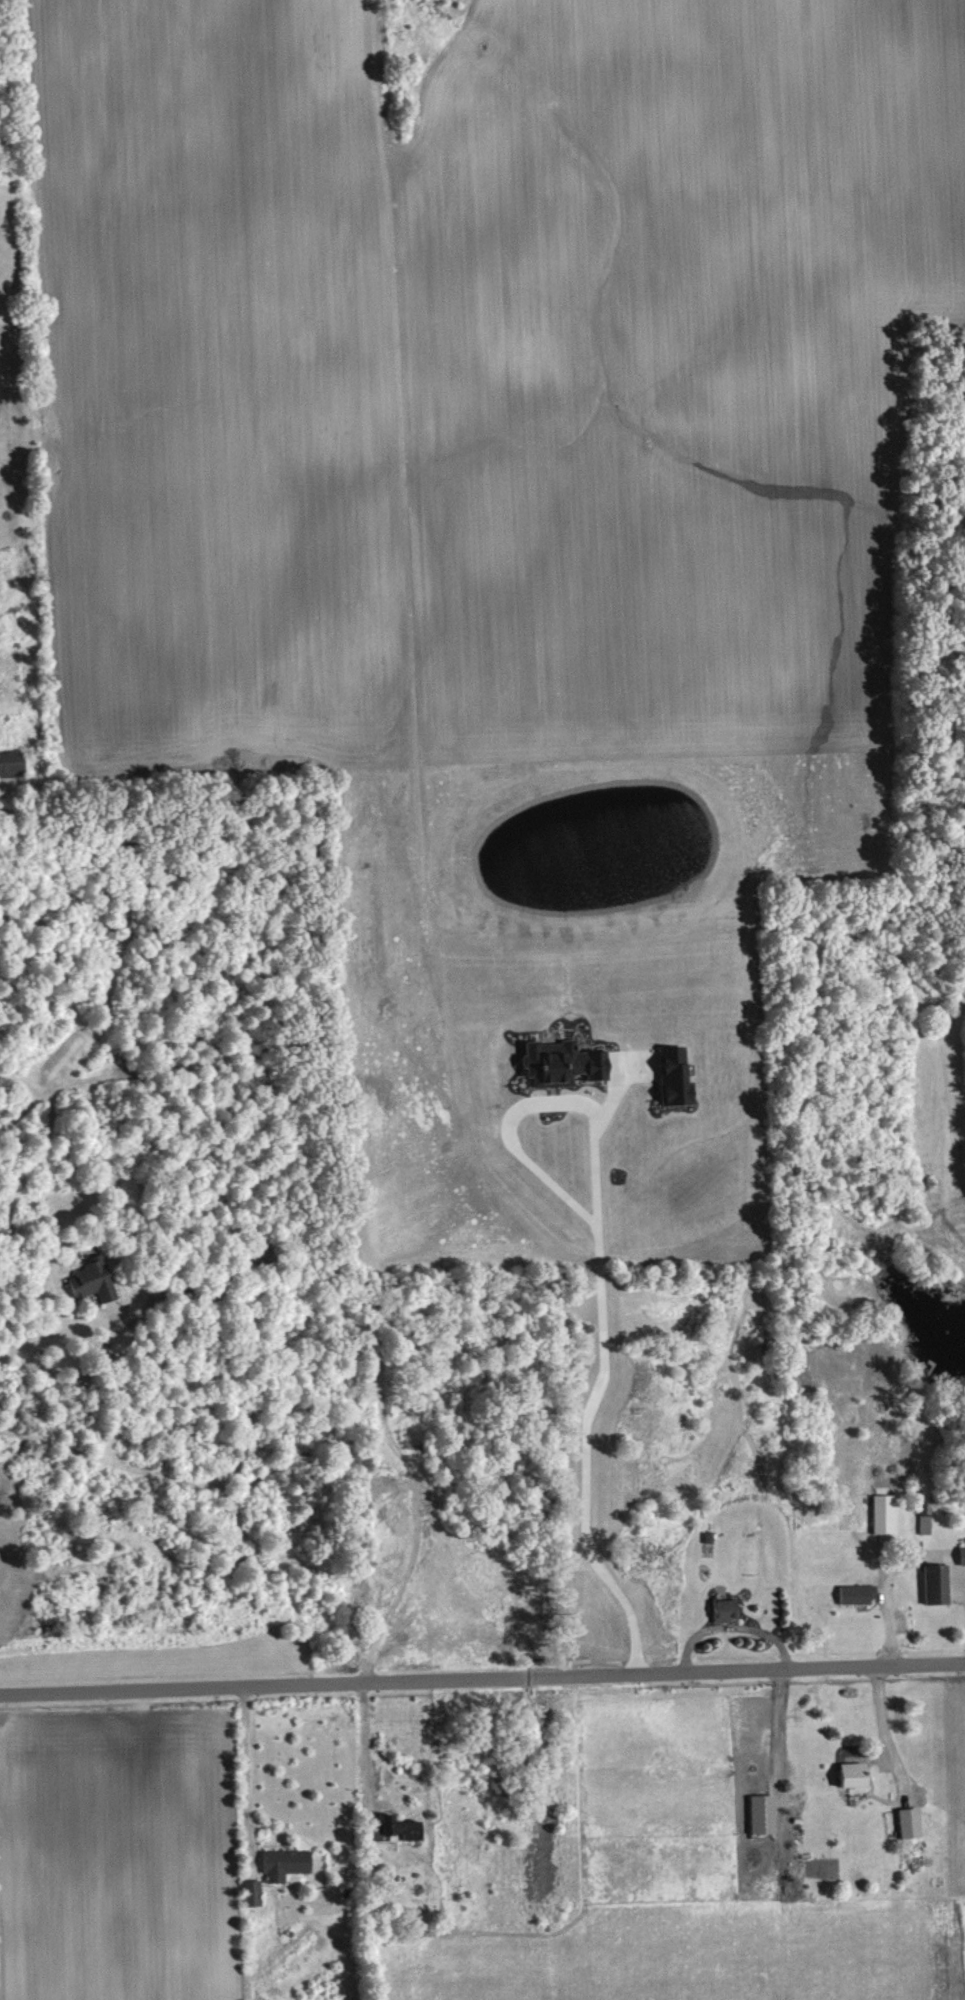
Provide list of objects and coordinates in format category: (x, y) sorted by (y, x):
building: (13, 764)
building: (565, 1063)
building: (677, 1076)
building: (96, 1280)
road: (55, 1338)
road: (596, 1406)
building: (886, 1514)
building: (964, 1554)
building: (939, 1584)
road: (398, 1590)
building: (859, 1594)
building: (728, 1610)
road: (730, 1625)
road: (482, 1678)
road: (775, 1728)
road: (882, 1732)
road: (363, 1745)
road: (246, 1763)
building: (855, 1775)
building: (765, 1814)
building: (913, 1823)
building: (399, 1829)
building: (288, 1864)
building: (255, 1893)

